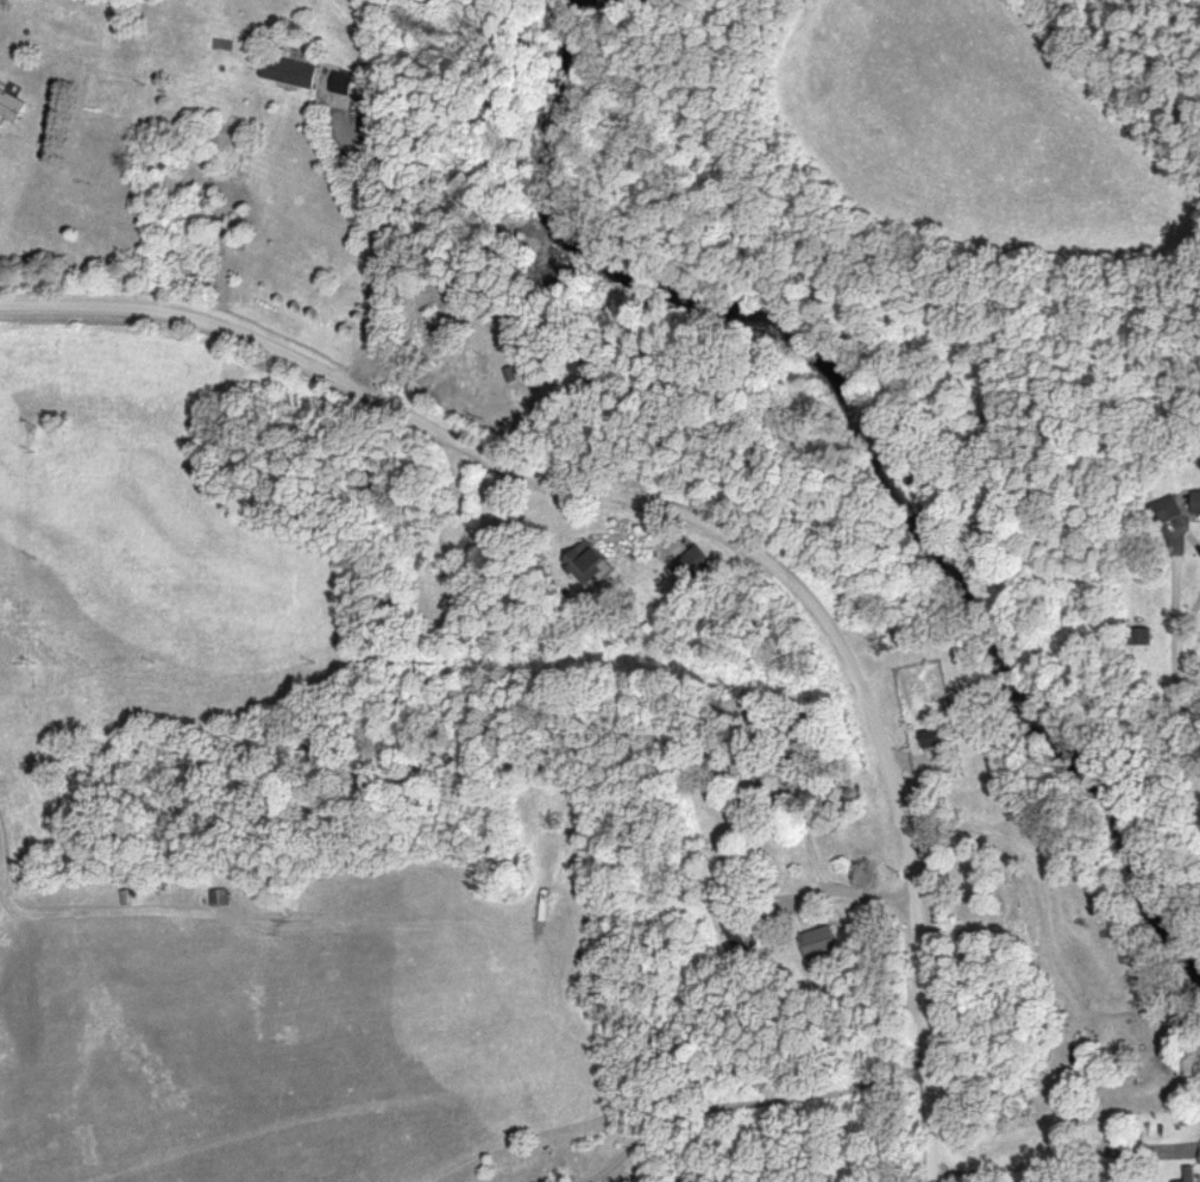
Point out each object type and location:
building: (294, 74)
building: (346, 84)
building: (12, 108)
road: (377, 262)
building: (1198, 504)
building: (1174, 509)
road: (695, 518)
building: (696, 564)
building: (591, 566)
road: (1177, 591)
road: (1188, 625)
road: (1180, 729)
building: (934, 741)
building: (222, 899)
road: (18, 912)
building: (821, 945)
road: (742, 1101)
road: (1045, 1162)
building: (1193, 1174)
road: (932, 1178)

